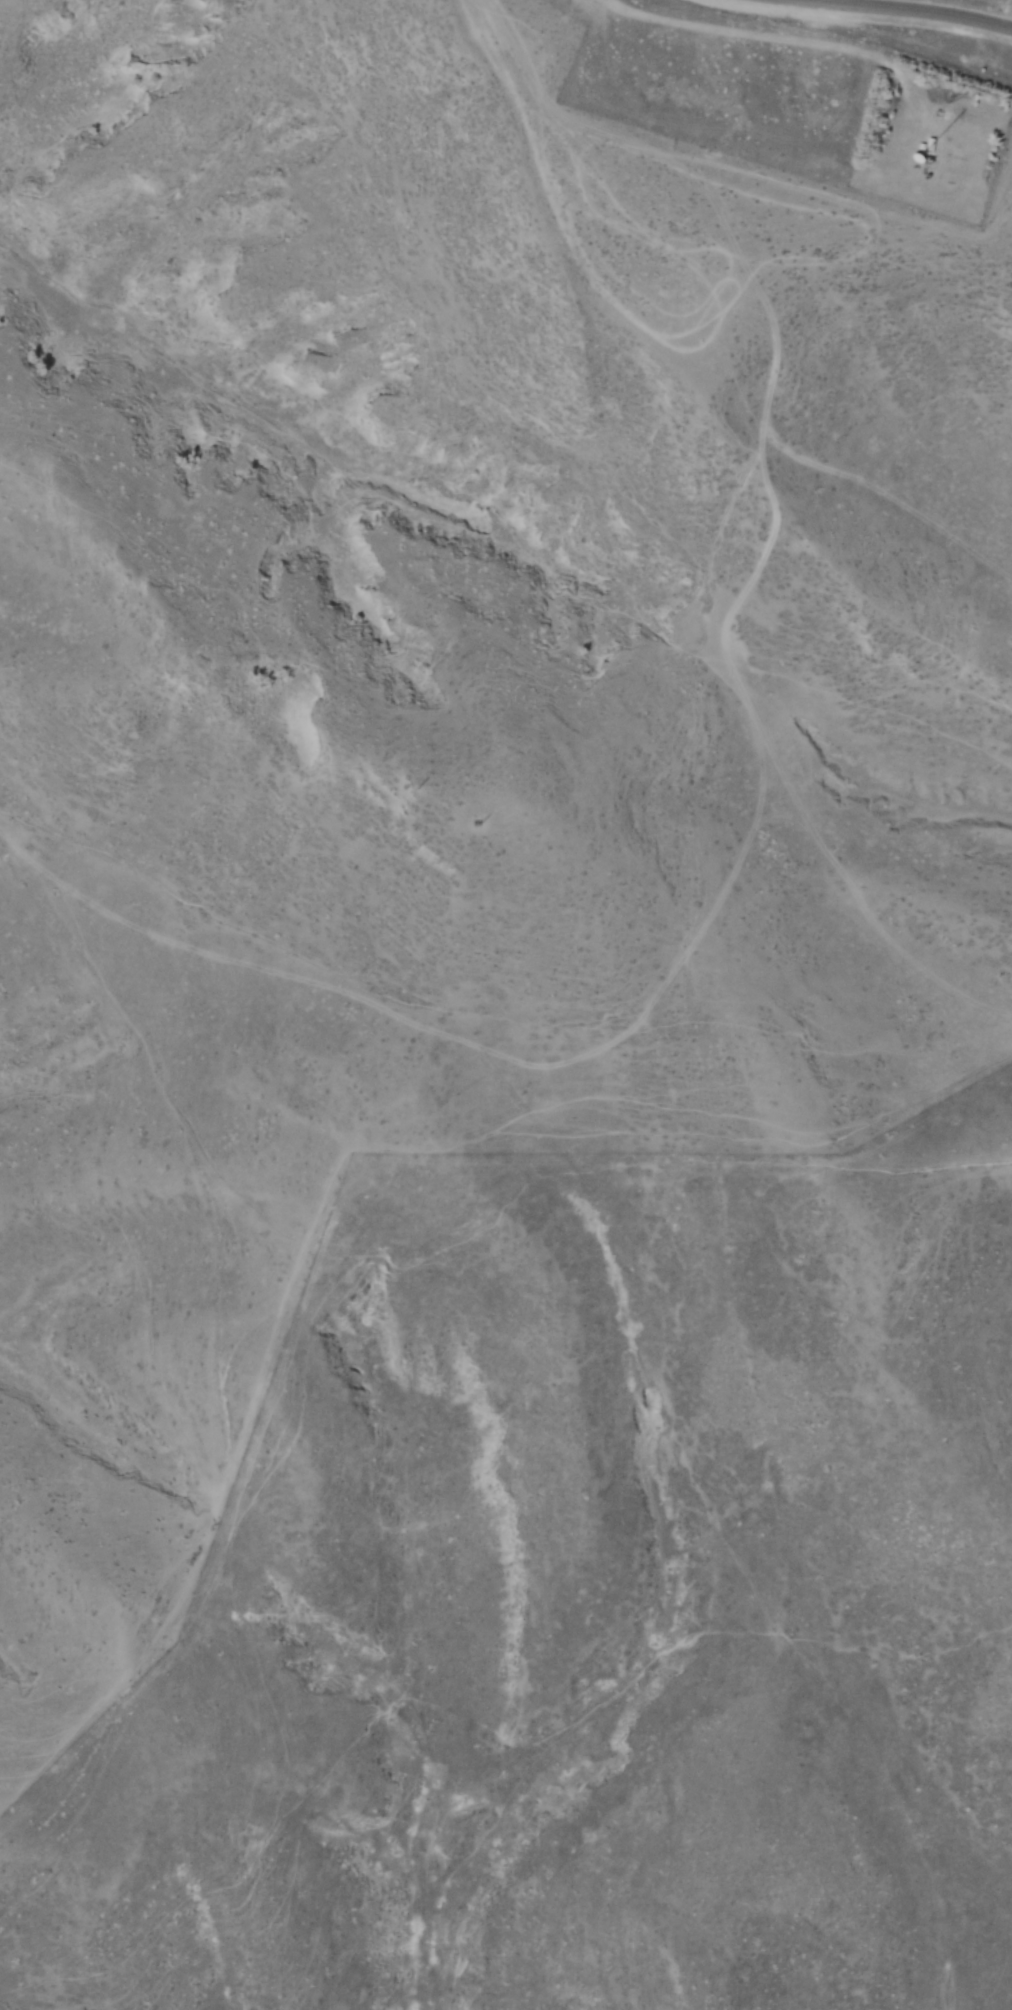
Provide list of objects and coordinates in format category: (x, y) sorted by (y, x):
road: (888, 11)
road: (791, 37)
building: (933, 146)

